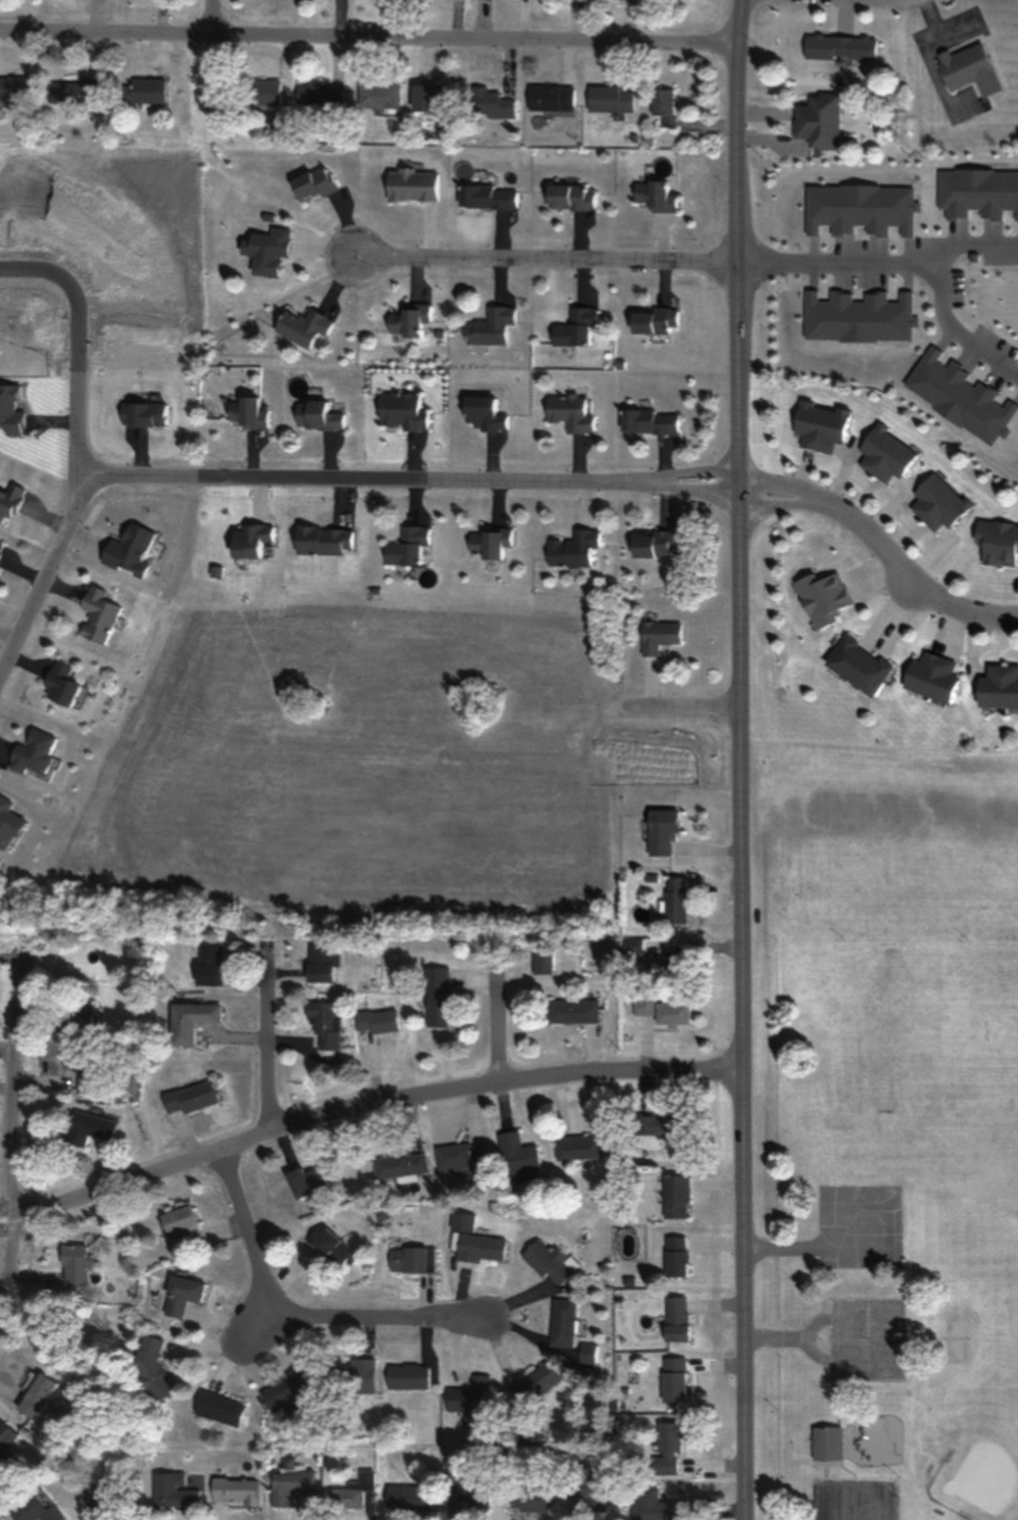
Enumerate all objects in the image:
road: (214, 20)
road: (367, 41)
building: (839, 46)
building: (967, 69)
building: (12, 87)
building: (74, 90)
building: (139, 91)
building: (264, 91)
building: (321, 94)
building: (378, 95)
building: (551, 97)
building: (432, 98)
building: (603, 98)
building: (492, 103)
building: (663, 105)
building: (819, 120)
building: (312, 182)
building: (412, 184)
building: (654, 194)
building: (569, 195)
building: (488, 196)
road: (971, 242)
building: (269, 250)
road: (544, 256)
road: (836, 263)
building: (409, 319)
building: (651, 320)
building: (490, 325)
building: (302, 326)
building: (574, 326)
road: (959, 332)
road: (77, 341)
building: (400, 411)
building: (483, 412)
building: (567, 412)
building: (247, 413)
building: (316, 415)
building: (648, 421)
building: (819, 425)
building: (884, 454)
road: (685, 470)
road: (355, 476)
road: (780, 483)
road: (685, 487)
building: (10, 500)
road: (779, 502)
building: (936, 502)
building: (323, 539)
building: (249, 540)
building: (997, 541)
building: (487, 542)
building: (652, 543)
building: (0, 544)
building: (407, 546)
building: (573, 547)
road: (911, 574)
road: (44, 575)
road: (910, 584)
building: (96, 615)
building: (657, 635)
building: (856, 665)
building: (929, 677)
building: (997, 686)
building: (63, 687)
road: (679, 703)
building: (34, 753)
road: (738, 759)
building: (661, 830)
building: (675, 898)
building: (322, 960)
building: (541, 961)
building: (210, 963)
building: (678, 963)
building: (436, 995)
building: (643, 1005)
building: (572, 1010)
building: (671, 1012)
building: (76, 1015)
building: (191, 1019)
building: (376, 1019)
road: (496, 1022)
building: (325, 1023)
park: (1002, 1030)
road: (268, 1045)
building: (86, 1067)
building: (189, 1096)
road: (365, 1115)
building: (662, 1123)
building: (89, 1127)
park: (884, 1131)
road: (11, 1142)
building: (579, 1146)
building: (461, 1155)
building: (517, 1156)
building: (402, 1166)
building: (308, 1181)
building: (675, 1195)
building: (183, 1224)
building: (480, 1247)
building: (335, 1249)
building: (675, 1255)
building: (412, 1258)
building: (550, 1261)
building: (75, 1264)
building: (182, 1295)
building: (675, 1317)
road: (298, 1319)
road: (272, 1320)
building: (562, 1321)
building: (587, 1352)
building: (152, 1367)
building: (353, 1376)
building: (407, 1376)
building: (673, 1378)
building: (536, 1383)
building: (289, 1391)
building: (37, 1395)
building: (469, 1399)
building: (219, 1407)
building: (6, 1436)
building: (826, 1441)
building: (669, 1443)
building: (290, 1483)
building: (466, 1485)
building: (235, 1488)
building: (175, 1489)
building: (587, 1490)
building: (107, 1492)
building: (347, 1496)
building: (409, 1496)
building: (528, 1497)
building: (656, 1505)
building: (36, 1509)

